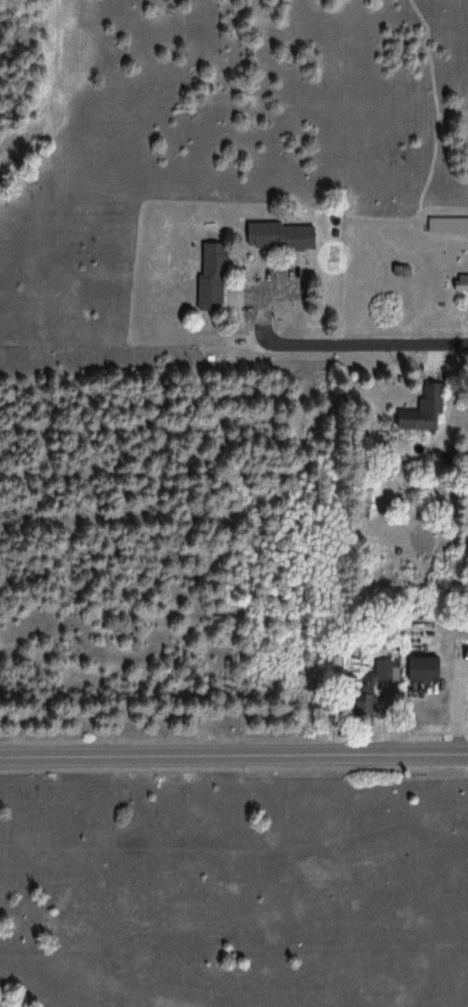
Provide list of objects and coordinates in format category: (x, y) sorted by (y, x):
building: (449, 223)
building: (284, 234)
building: (215, 275)
building: (461, 282)
road: (366, 341)
building: (423, 415)
building: (428, 667)
building: (381, 674)
road: (234, 752)

